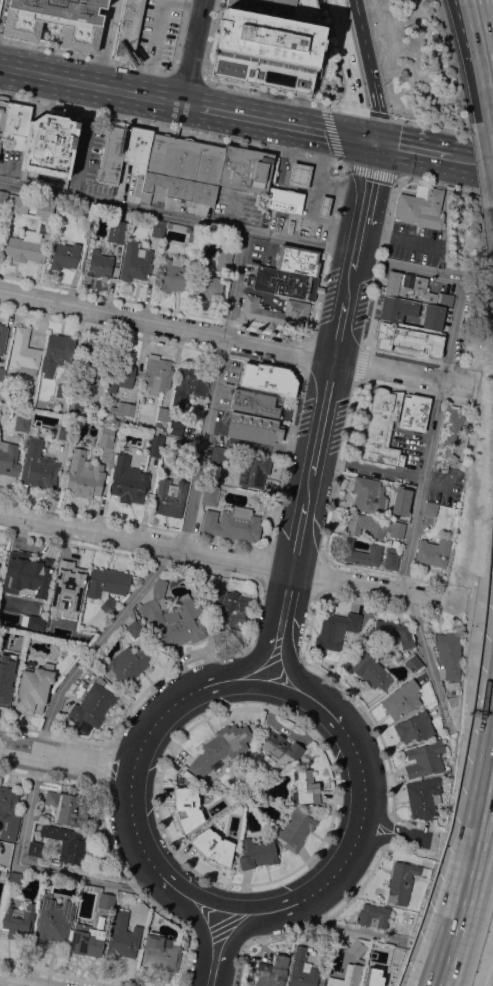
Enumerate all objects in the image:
road: (474, 12)
road: (479, 12)
building: (56, 21)
road: (155, 27)
building: (128, 30)
building: (270, 43)
road: (488, 47)
road: (192, 52)
road: (85, 54)
road: (369, 70)
road: (348, 72)
road: (186, 74)
road: (91, 84)
road: (264, 91)
building: (2, 112)
road: (277, 122)
building: (16, 125)
road: (429, 125)
road: (171, 127)
road: (330, 128)
road: (85, 141)
traffic signals: (374, 141)
building: (49, 149)
road: (412, 149)
building: (137, 152)
building: (111, 154)
road: (320, 157)
road: (301, 158)
road: (461, 160)
building: (170, 167)
building: (245, 169)
building: (207, 173)
road: (278, 174)
building: (299, 175)
road: (436, 184)
road: (316, 200)
building: (2, 201)
building: (284, 201)
building: (18, 204)
road: (333, 204)
building: (323, 206)
building: (421, 207)
building: (44, 211)
building: (85, 213)
road: (176, 217)
road: (389, 219)
building: (158, 229)
building: (117, 231)
building: (193, 237)
road: (393, 238)
building: (26, 246)
building: (64, 255)
building: (224, 258)
building: (298, 260)
building: (134, 262)
building: (99, 265)
building: (173, 275)
building: (284, 283)
building: (208, 287)
building: (414, 290)
building: (391, 309)
building: (274, 312)
building: (433, 317)
building: (2, 338)
road: (235, 338)
building: (408, 339)
building: (24, 352)
building: (56, 352)
building: (120, 372)
building: (2, 373)
building: (90, 374)
building: (157, 374)
building: (263, 378)
building: (190, 384)
building: (63, 391)
building: (256, 402)
building: (123, 408)
road: (322, 410)
building: (414, 412)
building: (163, 413)
building: (21, 423)
building: (174, 427)
building: (252, 428)
building: (381, 428)
building: (34, 430)
building: (65, 433)
building: (447, 437)
building: (107, 443)
building: (159, 445)
building: (183, 448)
road: (427, 449)
building: (217, 456)
building: (9, 458)
building: (233, 460)
building: (38, 466)
road: (367, 467)
building: (253, 470)
building: (84, 474)
building: (128, 480)
building: (404, 491)
building: (212, 494)
building: (368, 495)
building: (170, 496)
building: (430, 508)
building: (233, 523)
building: (374, 525)
building: (433, 551)
building: (14, 553)
building: (360, 553)
road: (217, 556)
building: (391, 560)
building: (31, 575)
building: (68, 582)
building: (107, 585)
building: (199, 591)
building: (230, 612)
building: (8, 617)
building: (173, 617)
road: (116, 620)
building: (35, 622)
building: (70, 625)
road: (249, 625)
building: (135, 628)
building: (336, 629)
building: (391, 633)
building: (84, 636)
building: (449, 653)
building: (397, 658)
building: (127, 663)
building: (413, 663)
building: (372, 672)
building: (6, 683)
building: (34, 688)
road: (180, 698)
building: (401, 699)
building: (92, 706)
road: (239, 707)
building: (414, 727)
road: (346, 732)
building: (280, 746)
building: (219, 748)
road: (65, 759)
building: (425, 759)
building: (304, 787)
building: (424, 797)
building: (186, 806)
building: (67, 808)
building: (8, 813)
building: (38, 816)
building: (296, 829)
road: (397, 834)
building: (67, 843)
building: (212, 845)
building: (35, 848)
building: (5, 853)
building: (256, 853)
road: (150, 860)
building: (2, 873)
road: (471, 873)
building: (16, 878)
building: (401, 882)
road: (308, 894)
building: (106, 901)
building: (373, 916)
building: (18, 920)
building: (53, 920)
road: (344, 929)
building: (122, 936)
building: (87, 940)
building: (356, 947)
road: (215, 948)
building: (161, 952)
building: (302, 969)
building: (271, 972)
building: (346, 976)
road: (435, 979)
road: (441, 979)
road: (14, 983)

